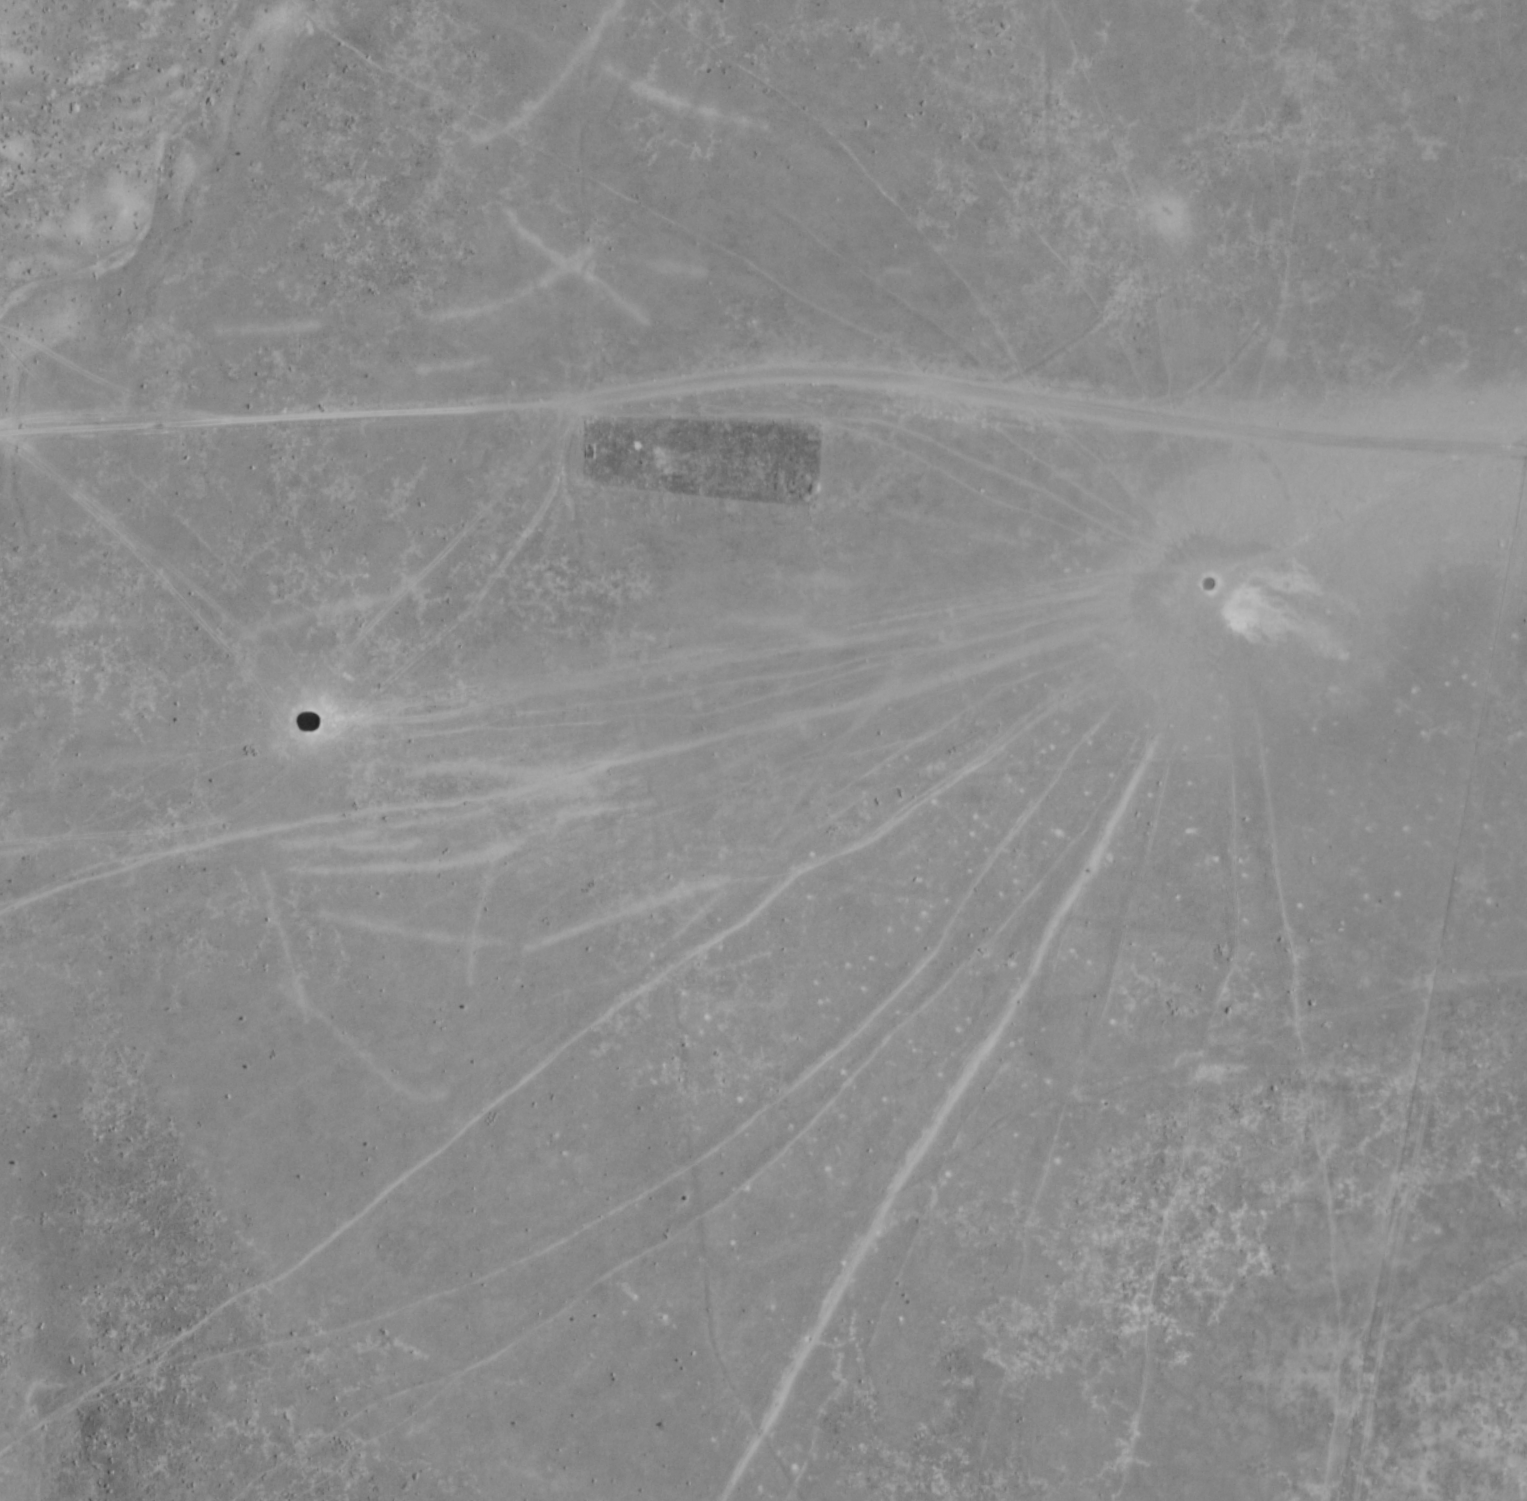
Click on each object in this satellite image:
road: (763, 376)
park: (705, 457)
road: (409, 788)

